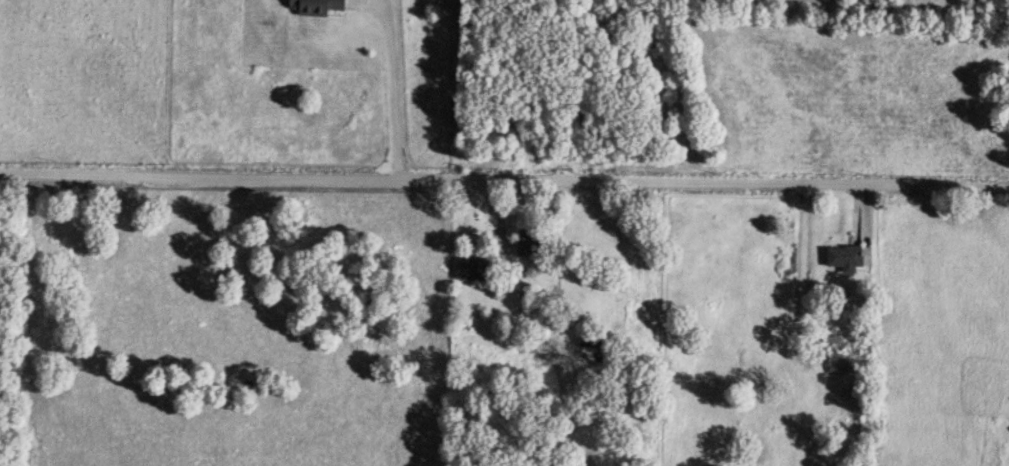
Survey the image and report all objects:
building: (311, 7)
road: (390, 83)
road: (504, 179)
building: (841, 259)
building: (467, 270)

